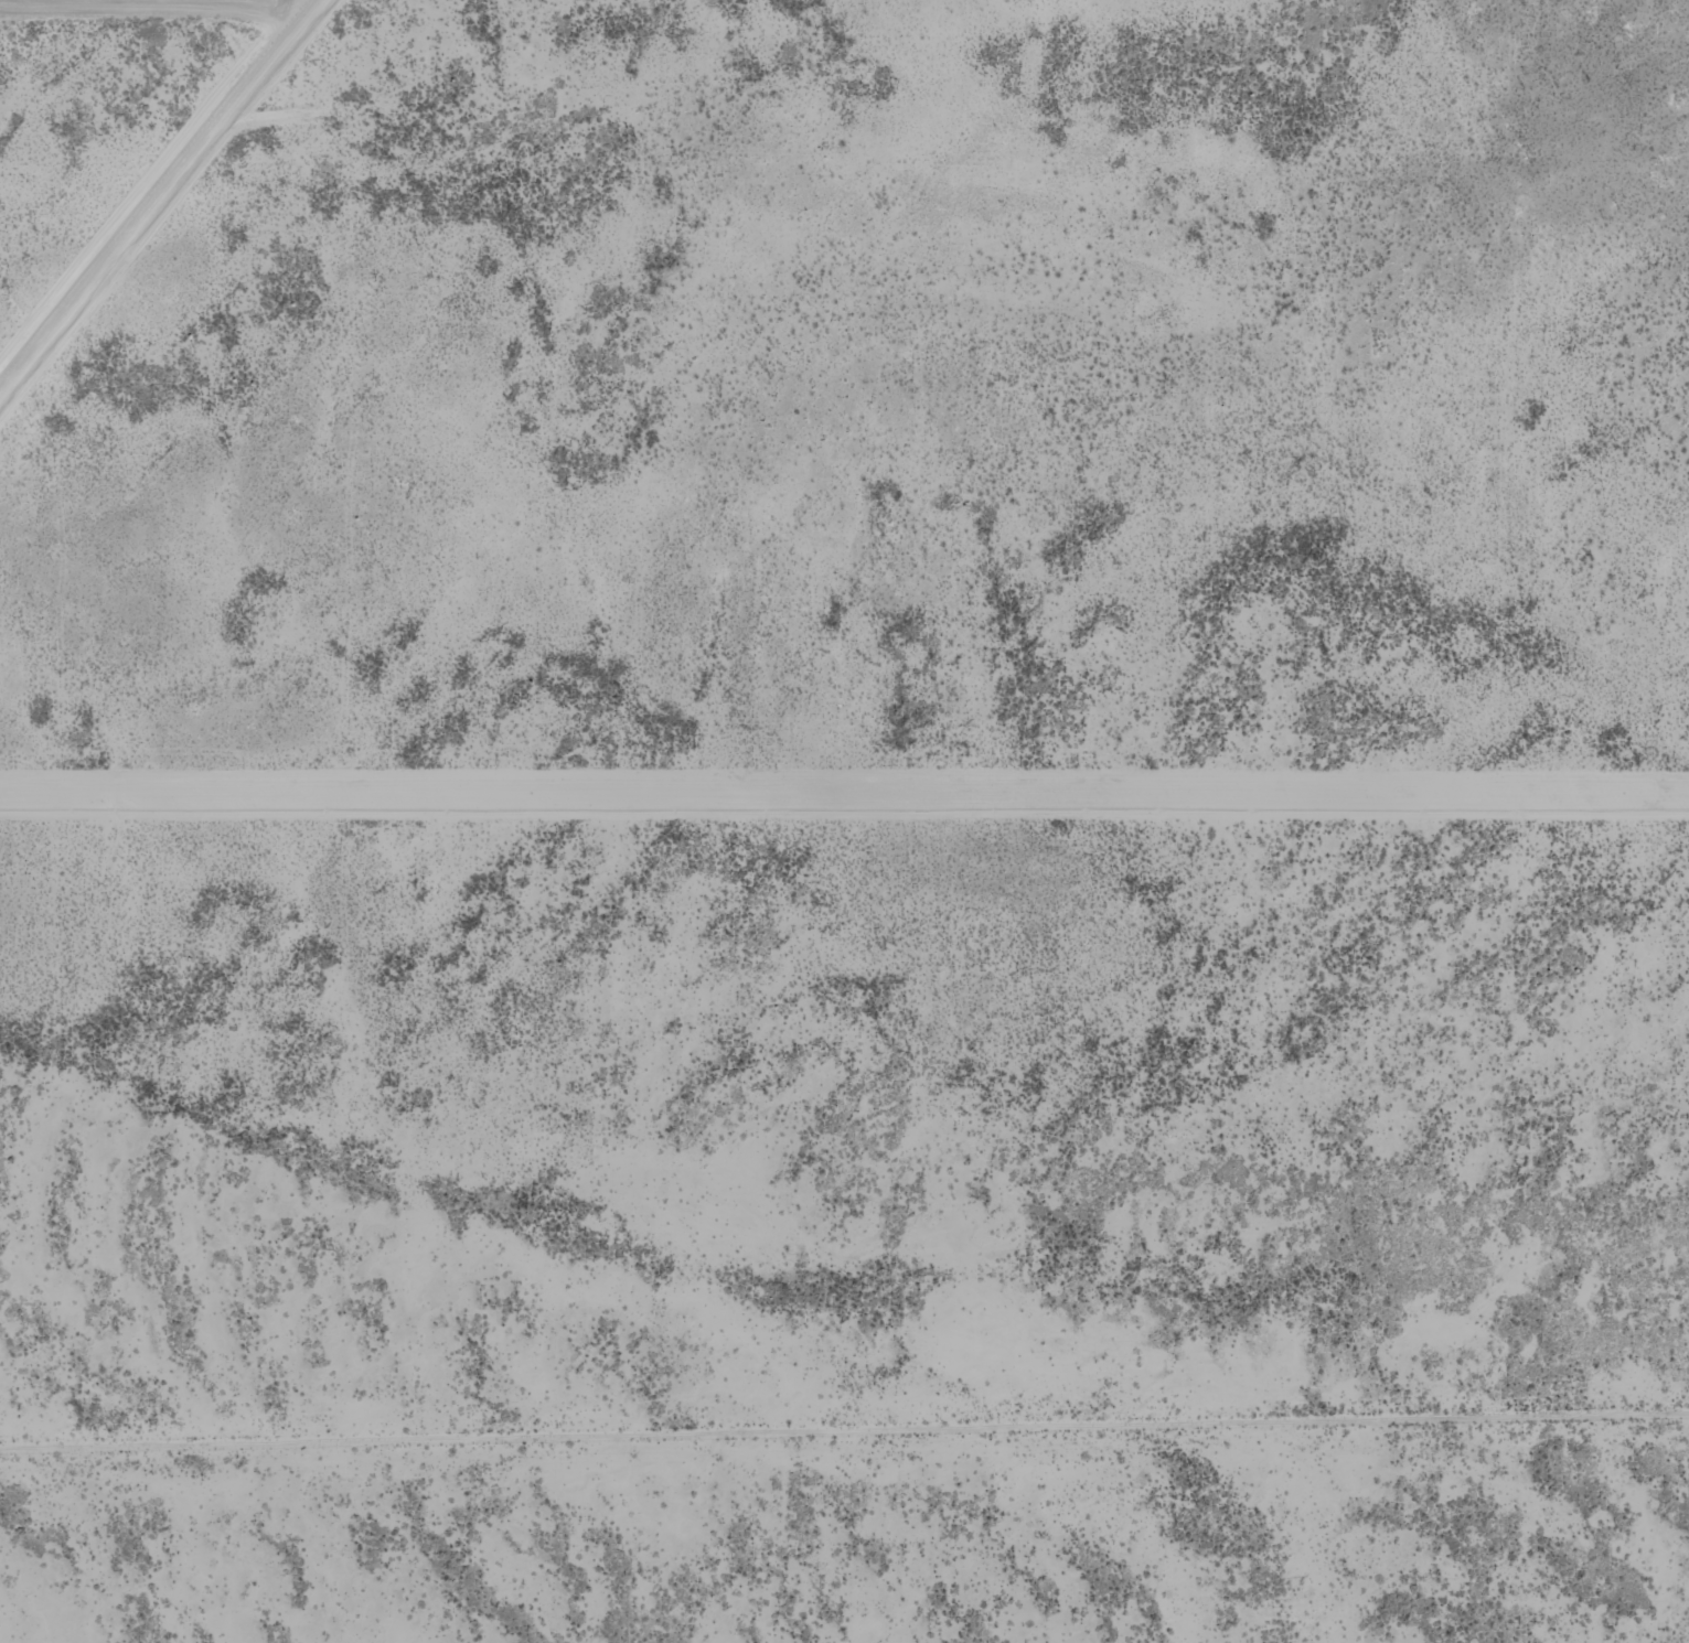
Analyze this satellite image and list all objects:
road: (165, 204)

